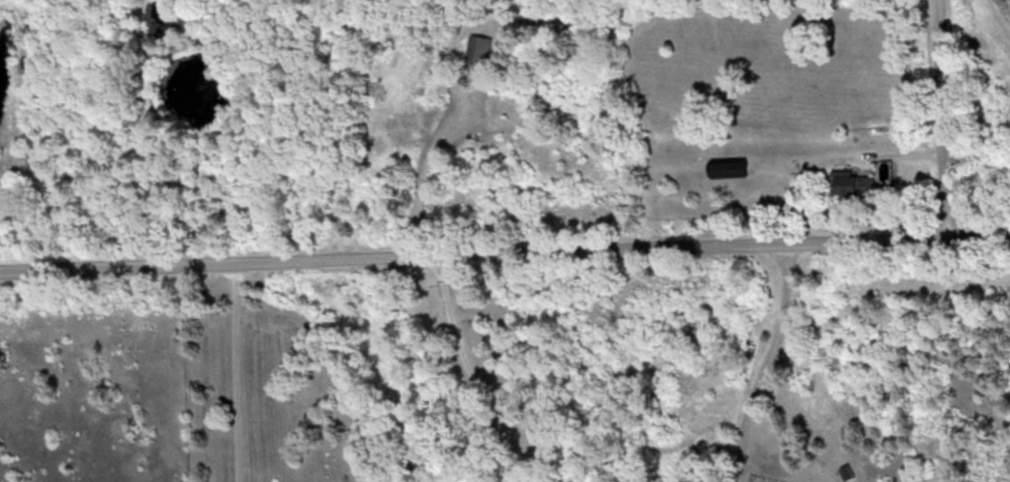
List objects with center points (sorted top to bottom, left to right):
building: (480, 48)
road: (947, 116)
road: (844, 153)
building: (730, 167)
building: (853, 181)
road: (504, 246)
road: (470, 366)
road: (225, 369)

